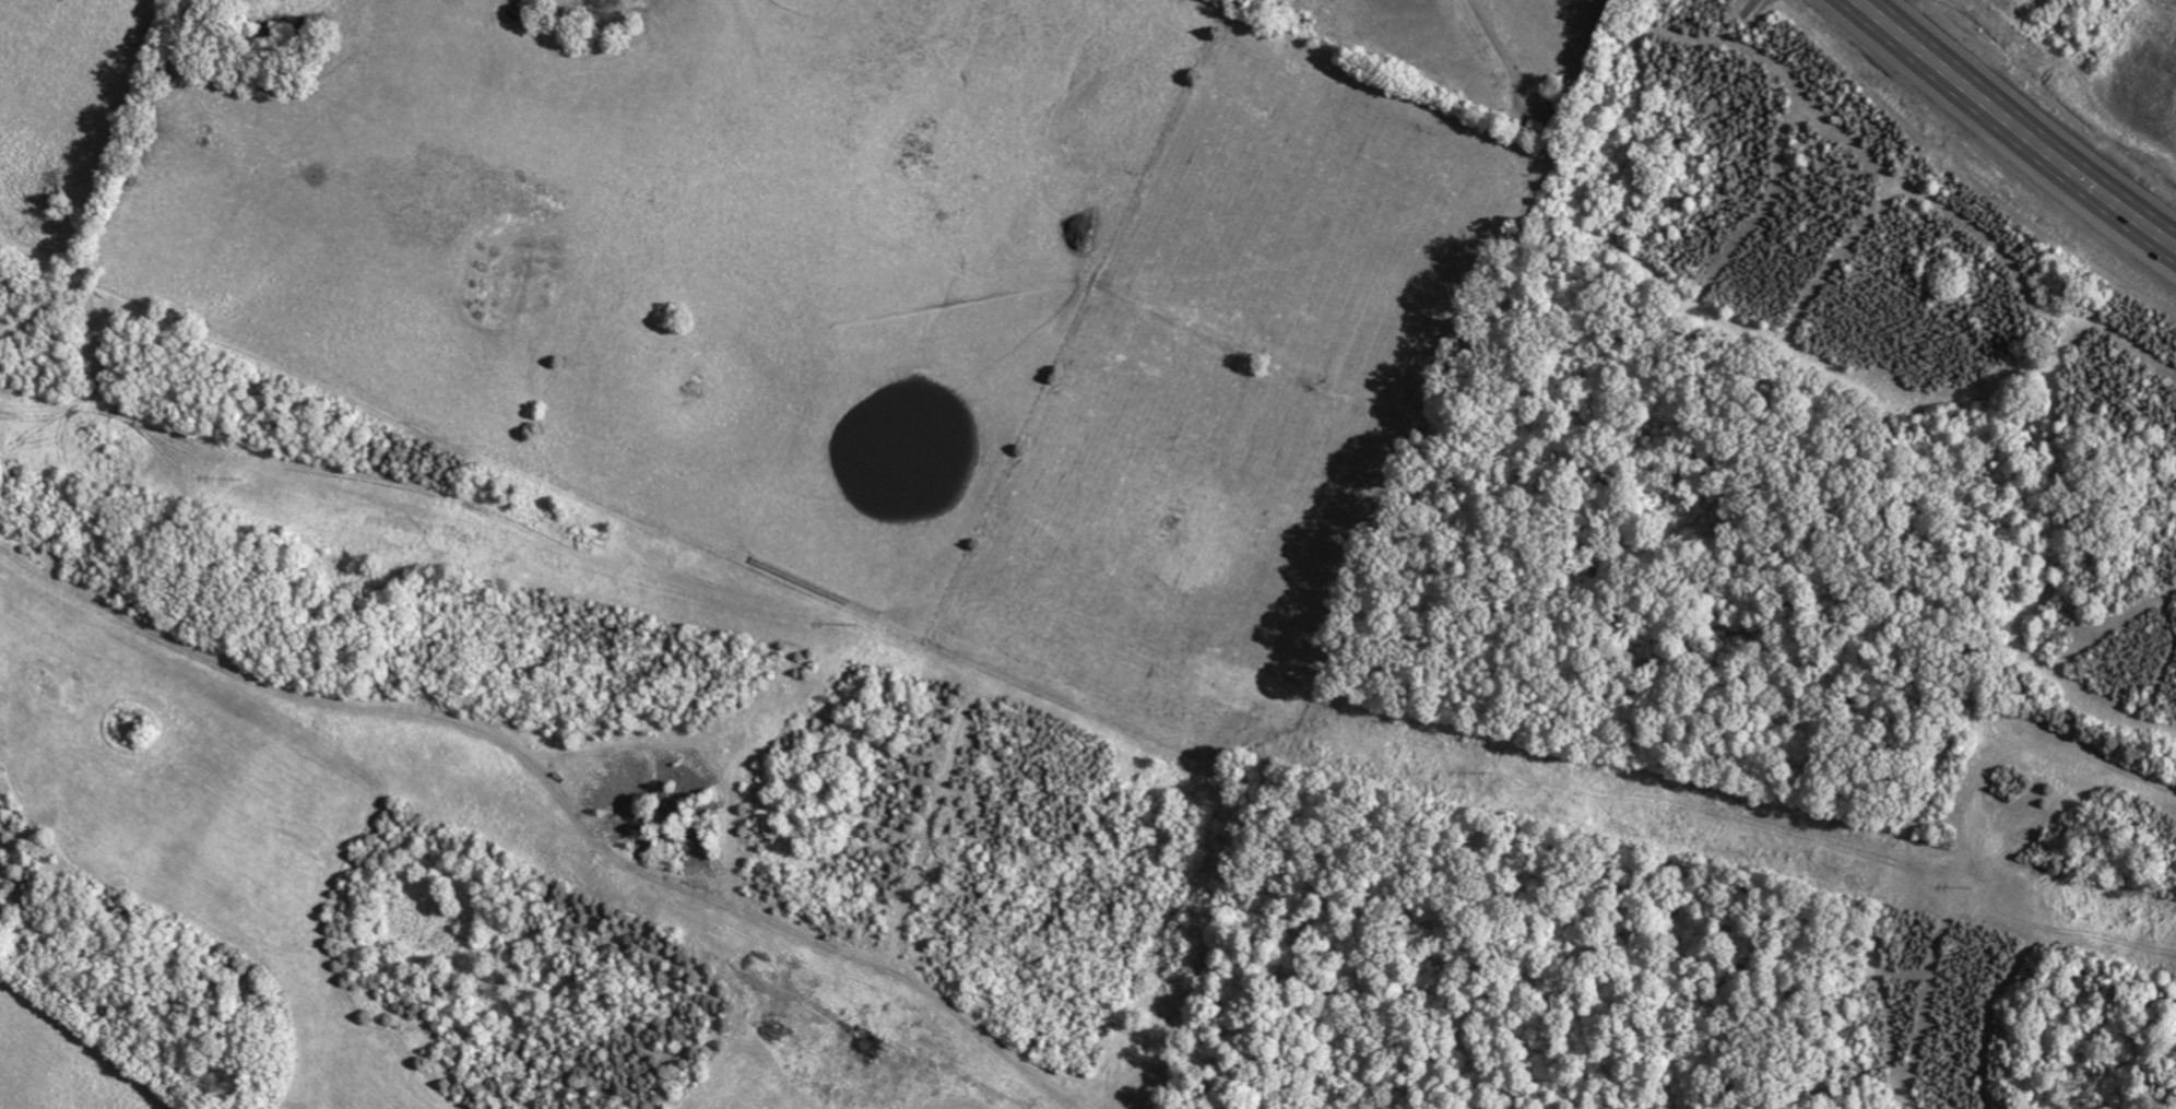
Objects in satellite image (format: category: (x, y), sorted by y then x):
road: (1495, 46)
road: (2014, 126)

